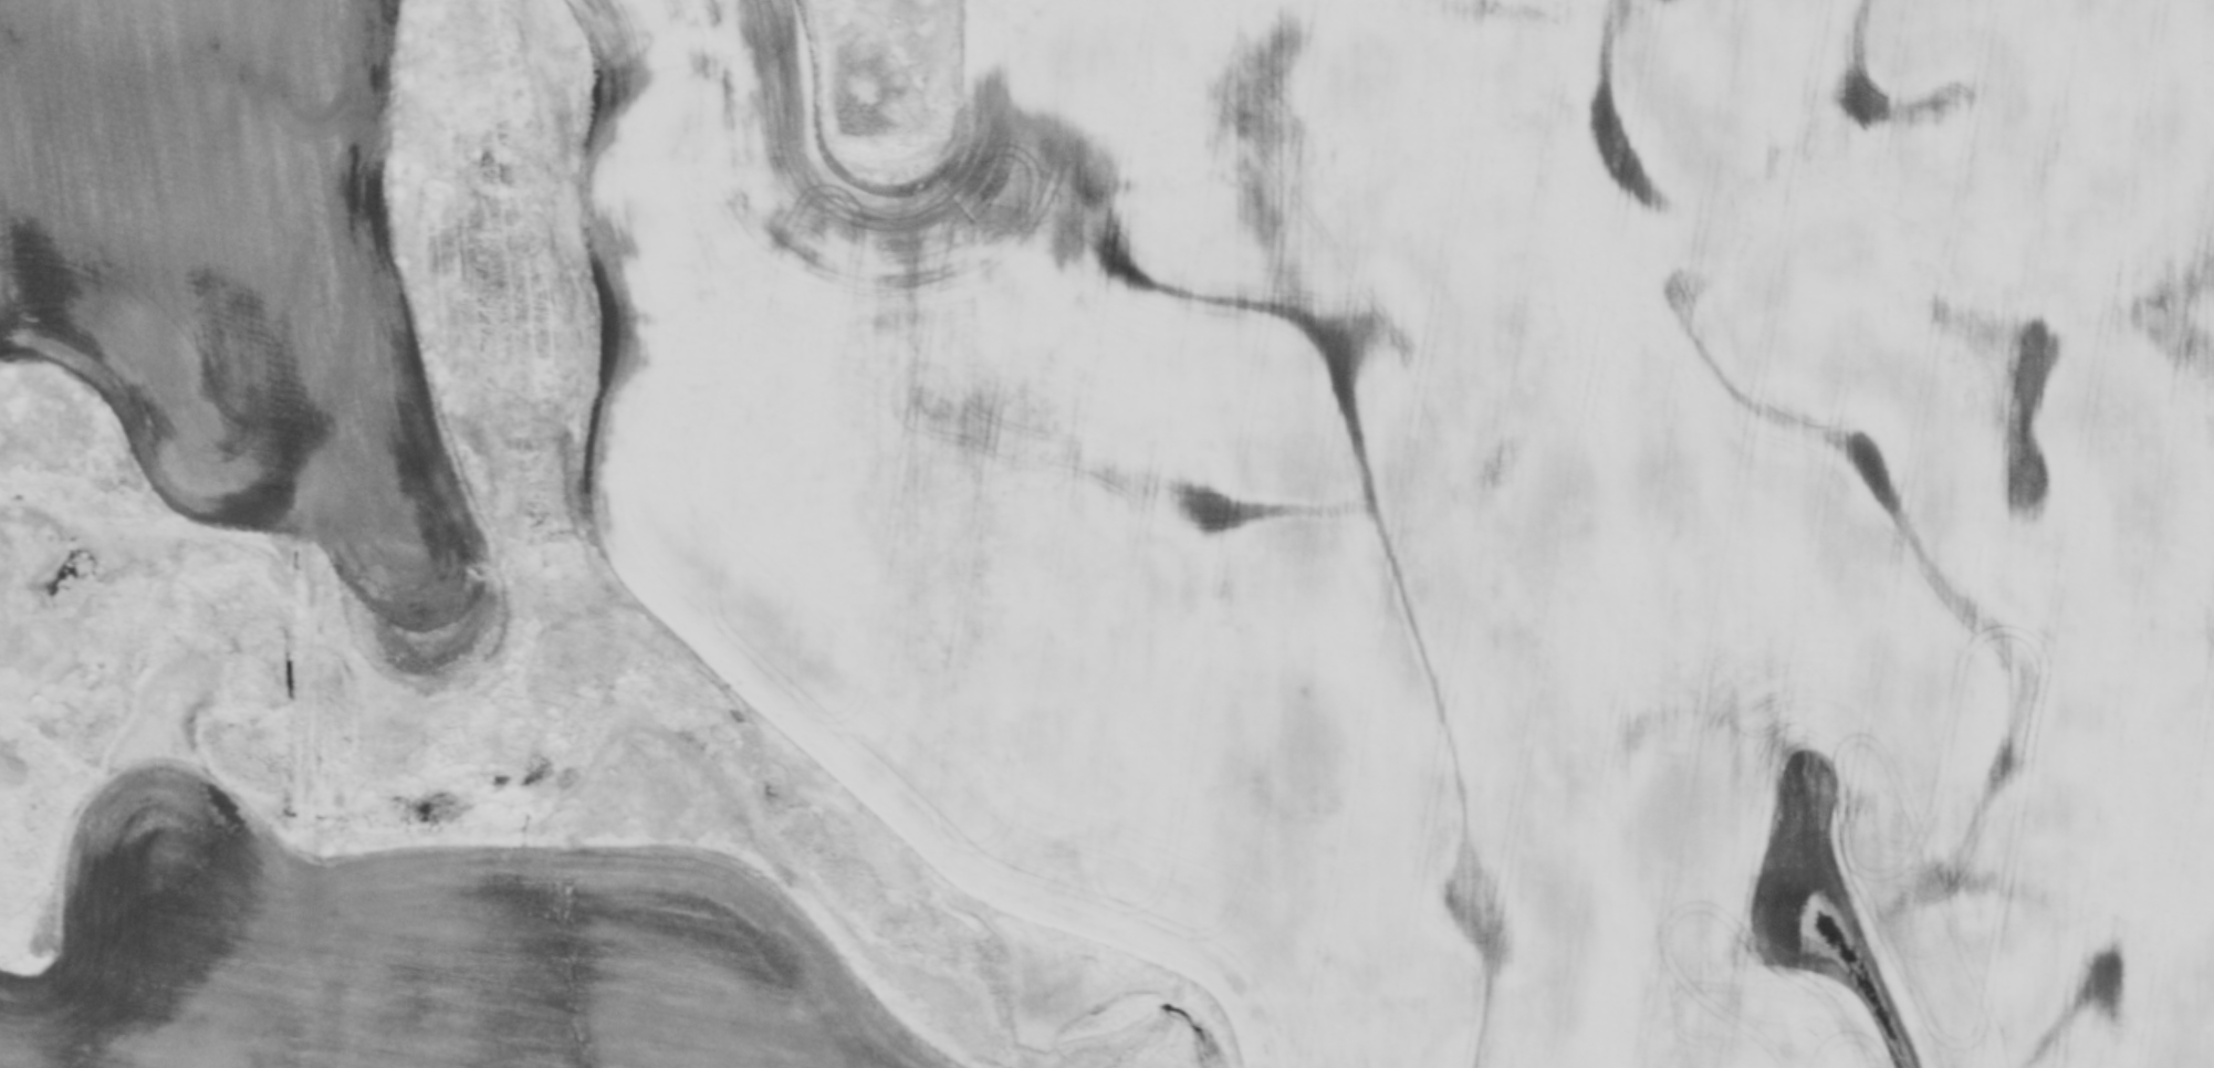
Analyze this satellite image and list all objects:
road: (312, 789)

